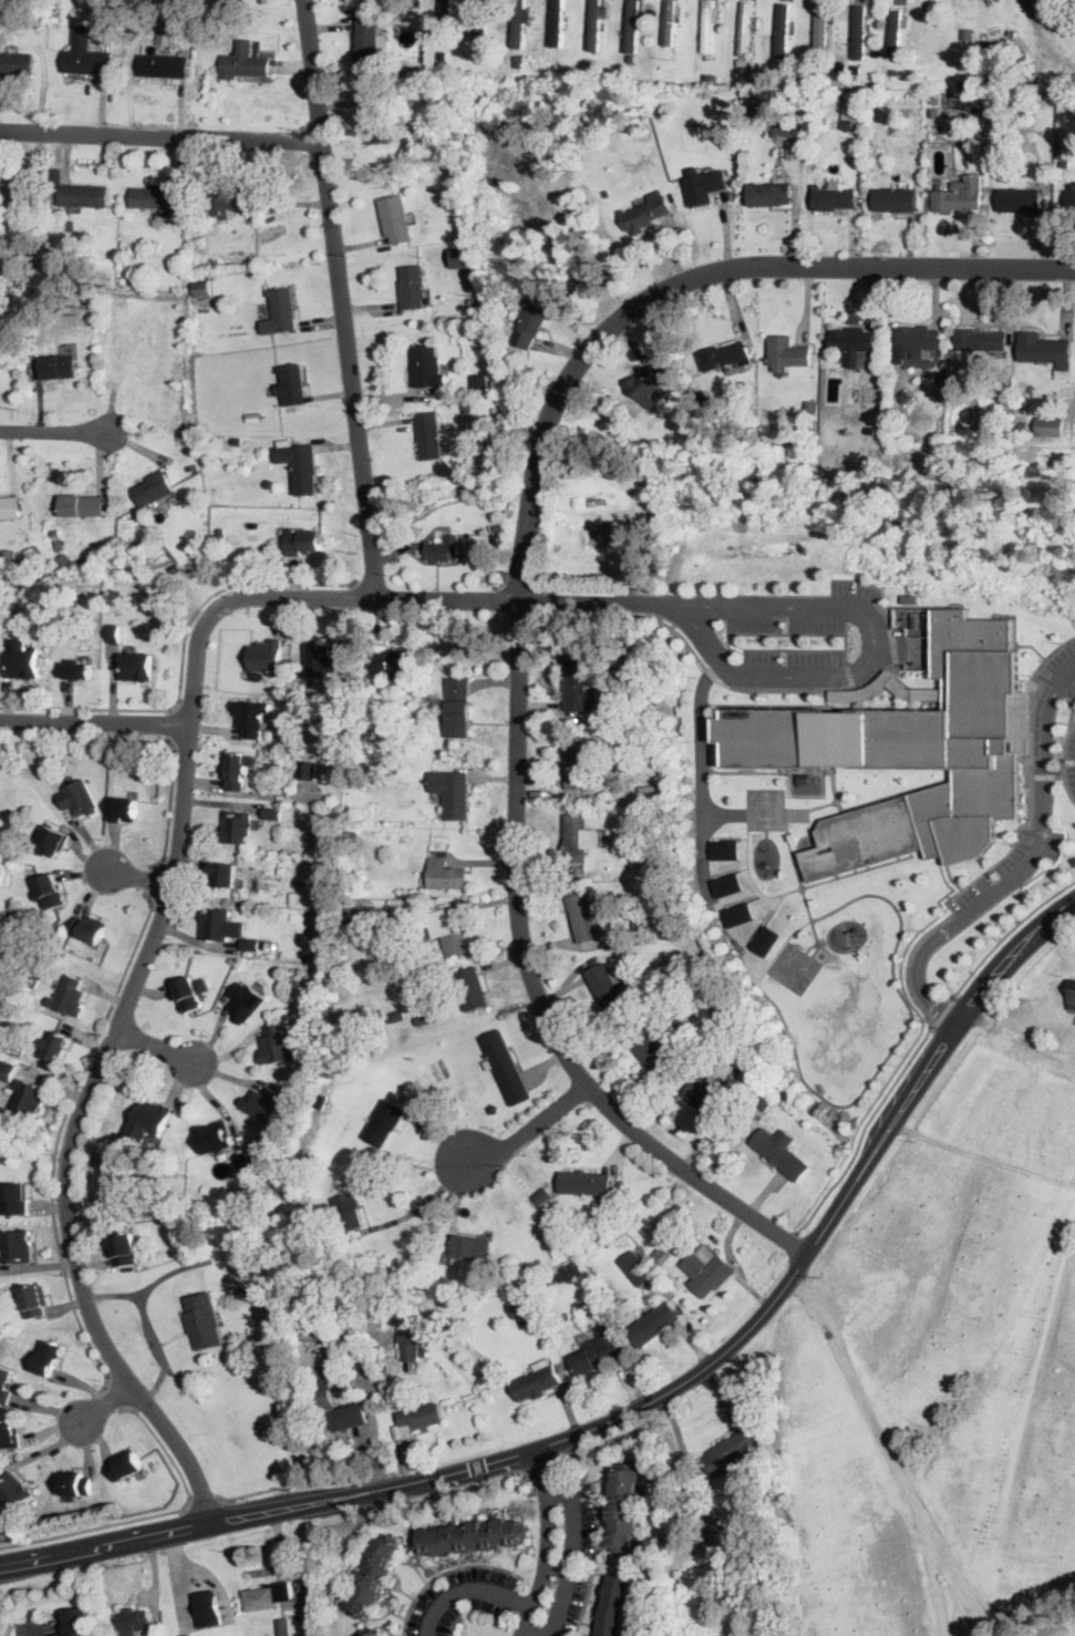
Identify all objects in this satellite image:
building: (1051, 1)
building: (1074, 1)
building: (407, 2)
building: (1045, 8)
building: (1060, 10)
building: (482, 20)
building: (556, 21)
building: (444, 22)
building: (670, 22)
building: (866, 23)
building: (518, 24)
building: (595, 24)
building: (707, 25)
building: (631, 27)
building: (745, 29)
building: (782, 30)
building: (821, 32)
building: (895, 33)
building: (857, 34)
building: (968, 34)
building: (368, 40)
building: (850, 42)
building: (482, 50)
building: (85, 55)
building: (518, 55)
building: (630, 56)
building: (709, 56)
building: (240, 61)
building: (17, 64)
building: (164, 65)
building: (263, 66)
building: (893, 71)
building: (707, 74)
building: (962, 83)
building: (936, 99)
building: (663, 112)
building: (936, 112)
building: (378, 123)
building: (848, 124)
building: (955, 128)
building: (781, 130)
building: (799, 131)
road: (161, 136)
building: (794, 150)
building: (872, 151)
building: (458, 173)
building: (58, 175)
building: (704, 187)
building: (606, 192)
building: (18, 193)
building: (769, 194)
building: (83, 195)
building: (960, 195)
building: (151, 196)
building: (1071, 196)
building: (227, 197)
building: (259, 198)
building: (834, 198)
building: (895, 199)
building: (1019, 200)
building: (645, 216)
building: (394, 219)
building: (461, 257)
building: (215, 264)
building: (68, 271)
building: (123, 279)
road: (688, 280)
building: (475, 286)
building: (412, 287)
building: (203, 290)
road: (340, 298)
building: (280, 312)
building: (529, 325)
building: (981, 340)
building: (917, 342)
building: (25, 343)
building: (855, 344)
building: (1046, 351)
building: (787, 352)
building: (996, 354)
building: (726, 356)
building: (60, 366)
building: (424, 366)
building: (479, 381)
building: (291, 383)
building: (645, 384)
building: (941, 387)
building: (965, 387)
building: (870, 394)
building: (905, 394)
building: (1021, 403)
building: (466, 407)
building: (810, 408)
building: (252, 416)
building: (1022, 424)
building: (1051, 425)
road: (53, 431)
building: (430, 435)
building: (482, 440)
building: (238, 442)
building: (300, 465)
building: (651, 481)
building: (268, 484)
building: (155, 487)
building: (82, 505)
building: (9, 507)
building: (56, 532)
building: (302, 542)
building: (58, 543)
building: (443, 549)
building: (21, 554)
building: (64, 559)
building: (85, 560)
building: (911, 598)
road: (659, 603)
building: (12, 611)
building: (114, 634)
building: (269, 656)
building: (252, 658)
road: (182, 659)
building: (320, 659)
road: (877, 659)
building: (22, 662)
building: (393, 663)
building: (136, 667)
building: (77, 670)
road: (711, 672)
building: (577, 685)
building: (458, 708)
building: (259, 717)
building: (246, 718)
road: (175, 723)
road: (93, 724)
building: (638, 743)
building: (907, 751)
road: (1063, 753)
road: (702, 761)
building: (378, 763)
building: (578, 765)
building: (307, 770)
building: (237, 773)
building: (806, 778)
building: (647, 790)
building: (452, 793)
building: (79, 798)
road: (169, 807)
building: (124, 810)
road: (1043, 810)
building: (272, 813)
building: (237, 826)
building: (349, 836)
building: (578, 838)
building: (53, 840)
road: (1015, 843)
building: (724, 848)
building: (643, 855)
building: (224, 874)
building: (445, 874)
road: (138, 878)
road: (152, 882)
road: (172, 882)
building: (727, 884)
building: (49, 892)
building: (737, 914)
building: (361, 915)
building: (585, 916)
building: (642, 924)
building: (220, 925)
building: (90, 928)
building: (449, 929)
building: (684, 934)
road: (1007, 934)
building: (765, 939)
building: (247, 944)
building: (265, 944)
building: (256, 945)
building: (240, 964)
road: (919, 977)
building: (35, 978)
building: (606, 985)
building: (472, 989)
road: (534, 990)
building: (188, 995)
building: (1071, 995)
building: (69, 997)
building: (257, 1000)
building: (242, 1002)
road: (907, 1004)
road: (943, 1014)
building: (396, 1017)
building: (724, 1030)
road: (1022, 1037)
building: (56, 1045)
building: (276, 1046)
road: (154, 1047)
building: (652, 1053)
building: (505, 1066)
building: (7, 1070)
building: (438, 1071)
building: (717, 1076)
building: (706, 1097)
building: (30, 1098)
building: (762, 1103)
building: (247, 1104)
building: (266, 1104)
building: (494, 1109)
building: (152, 1118)
building: (383, 1123)
road: (862, 1130)
road: (525, 1135)
building: (214, 1138)
road: (58, 1139)
building: (781, 1151)
road: (984, 1157)
building: (242, 1161)
building: (586, 1184)
road: (764, 1194)
building: (539, 1197)
building: (14, 1198)
road: (415, 1211)
building: (348, 1212)
road: (792, 1237)
building: (19, 1246)
building: (472, 1247)
building: (123, 1248)
building: (662, 1256)
building: (635, 1268)
building: (570, 1272)
building: (707, 1273)
building: (244, 1289)
building: (420, 1290)
building: (34, 1300)
building: (407, 1301)
building: (579, 1305)
building: (518, 1308)
building: (203, 1320)
building: (652, 1324)
road: (147, 1325)
building: (407, 1340)
building: (597, 1349)
building: (424, 1350)
building: (364, 1357)
building: (49, 1358)
building: (537, 1381)
building: (6, 1385)
road: (117, 1395)
road: (106, 1403)
road: (643, 1406)
building: (339, 1408)
building: (417, 1418)
building: (9, 1436)
road: (890, 1448)
building: (732, 1450)
building: (124, 1467)
building: (75, 1484)
building: (13, 1490)
road: (249, 1494)
road: (206, 1502)
building: (623, 1509)
road: (157, 1515)
building: (471, 1537)
road: (547, 1544)
road: (573, 1552)
building: (373, 1576)
road: (468, 1588)
road: (960, 1589)
building: (266, 1596)
building: (735, 1598)
building: (614, 1606)
building: (207, 1607)
road: (1062, 1615)
road: (1013, 1616)
building: (77, 1622)
building: (132, 1622)
building: (283, 1627)
road: (35, 1628)
building: (374, 1634)
road: (530, 1634)
building: (187, 1635)

